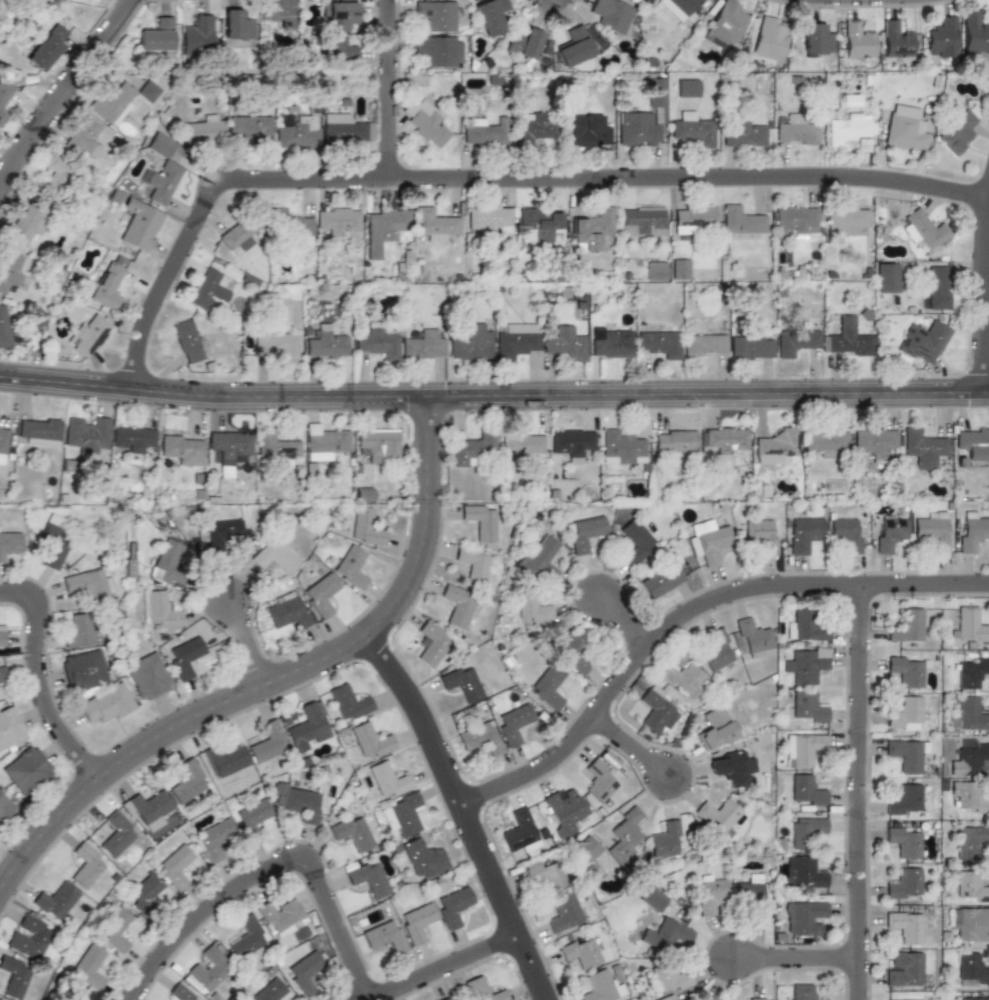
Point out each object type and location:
building: (678, 7)
building: (277, 12)
building: (337, 15)
building: (491, 15)
building: (611, 15)
building: (434, 16)
building: (726, 22)
building: (236, 25)
building: (975, 32)
building: (196, 34)
building: (155, 36)
building: (768, 38)
building: (855, 38)
building: (939, 38)
building: (814, 39)
building: (894, 39)
building: (523, 42)
building: (573, 47)
building: (46, 48)
building: (338, 49)
building: (438, 50)
road: (64, 87)
building: (686, 88)
building: (148, 91)
road: (387, 92)
building: (655, 92)
building: (6, 94)
building: (111, 102)
building: (422, 121)
building: (248, 127)
building: (340, 127)
building: (532, 127)
building: (203, 129)
building: (637, 129)
building: (845, 129)
building: (903, 129)
building: (692, 130)
building: (794, 130)
building: (956, 130)
building: (481, 132)
building: (297, 133)
building: (586, 133)
building: (743, 134)
building: (83, 137)
building: (161, 170)
building: (56, 176)
road: (499, 186)
building: (691, 218)
building: (488, 219)
building: (846, 220)
building: (641, 221)
building: (796, 221)
building: (26, 222)
building: (334, 222)
building: (539, 223)
building: (740, 223)
building: (435, 225)
building: (139, 226)
building: (290, 227)
building: (925, 228)
building: (383, 229)
building: (592, 229)
building: (237, 236)
building: (679, 268)
building: (655, 271)
building: (10, 272)
building: (108, 283)
building: (938, 287)
building: (207, 289)
road: (986, 301)
building: (4, 328)
building: (88, 334)
building: (515, 339)
building: (188, 340)
building: (848, 340)
building: (377, 341)
building: (796, 341)
building: (277, 342)
building: (923, 342)
building: (325, 343)
building: (566, 343)
building: (608, 343)
building: (660, 343)
building: (470, 344)
building: (749, 345)
building: (423, 346)
building: (704, 346)
road: (494, 397)
building: (38, 430)
building: (87, 435)
building: (131, 438)
building: (726, 439)
building: (824, 439)
building: (673, 441)
building: (323, 442)
building: (874, 442)
building: (972, 442)
building: (573, 443)
building: (228, 444)
building: (378, 444)
building: (522, 444)
building: (3, 445)
building: (275, 447)
building: (776, 447)
building: (183, 448)
building: (472, 448)
building: (620, 448)
building: (922, 448)
building: (364, 494)
building: (481, 521)
building: (364, 526)
building: (971, 530)
building: (931, 531)
building: (584, 533)
building: (888, 533)
building: (803, 534)
building: (843, 534)
building: (221, 535)
building: (760, 535)
building: (10, 540)
building: (54, 540)
building: (634, 541)
building: (709, 541)
building: (274, 556)
building: (540, 558)
building: (170, 563)
building: (473, 564)
building: (351, 567)
building: (660, 580)
building: (87, 583)
building: (321, 594)
building: (531, 603)
building: (457, 606)
road: (682, 608)
building: (159, 609)
building: (287, 610)
road: (622, 624)
building: (906, 625)
building: (968, 625)
building: (804, 626)
building: (79, 630)
building: (2, 636)
building: (751, 637)
building: (430, 644)
building: (715, 647)
road: (253, 652)
building: (574, 652)
building: (185, 657)
building: (803, 664)
building: (84, 670)
building: (904, 671)
building: (970, 672)
building: (3, 677)
building: (148, 677)
building: (681, 679)
building: (462, 682)
road: (43, 683)
building: (549, 685)
road: (283, 688)
building: (348, 702)
building: (107, 703)
building: (806, 707)
building: (655, 713)
building: (903, 714)
building: (968, 715)
building: (513, 723)
building: (309, 726)
building: (714, 728)
building: (10, 729)
building: (480, 738)
building: (369, 740)
building: (267, 742)
building: (803, 748)
road: (635, 755)
building: (905, 755)
building: (971, 758)
building: (226, 762)
building: (731, 768)
building: (26, 769)
building: (388, 780)
building: (598, 780)
building: (186, 782)
building: (806, 791)
road: (854, 792)
building: (967, 796)
building: (904, 800)
building: (298, 801)
building: (5, 808)
building: (147, 809)
building: (563, 810)
building: (718, 814)
building: (401, 815)
road: (467, 818)
building: (251, 819)
building: (806, 829)
building: (117, 833)
building: (352, 833)
building: (517, 833)
building: (624, 836)
building: (665, 839)
building: (970, 840)
building: (213, 841)
building: (905, 842)
building: (585, 847)
building: (423, 858)
building: (85, 866)
building: (175, 868)
building: (803, 871)
building: (544, 874)
road: (277, 877)
building: (368, 879)
building: (901, 883)
building: (972, 889)
building: (145, 890)
building: (711, 894)
building: (651, 896)
building: (752, 896)
building: (55, 900)
building: (453, 906)
building: (562, 913)
building: (279, 916)
building: (801, 917)
building: (417, 921)
building: (969, 922)
building: (903, 926)
building: (117, 929)
building: (665, 934)
building: (384, 936)
building: (28, 937)
building: (245, 937)
building: (579, 952)
road: (790, 956)
building: (968, 966)
building: (90, 967)
building: (208, 967)
building: (901, 968)
road: (459, 972)
building: (304, 973)
building: (13, 976)
building: (669, 977)
building: (599, 987)
building: (481, 990)
building: (269, 991)
building: (71, 993)
building: (181, 993)
building: (804, 993)
building: (664, 998)
building: (707, 998)
building: (969, 998)
building: (0, 999)
building: (444, 999)
building: (753, 999)

